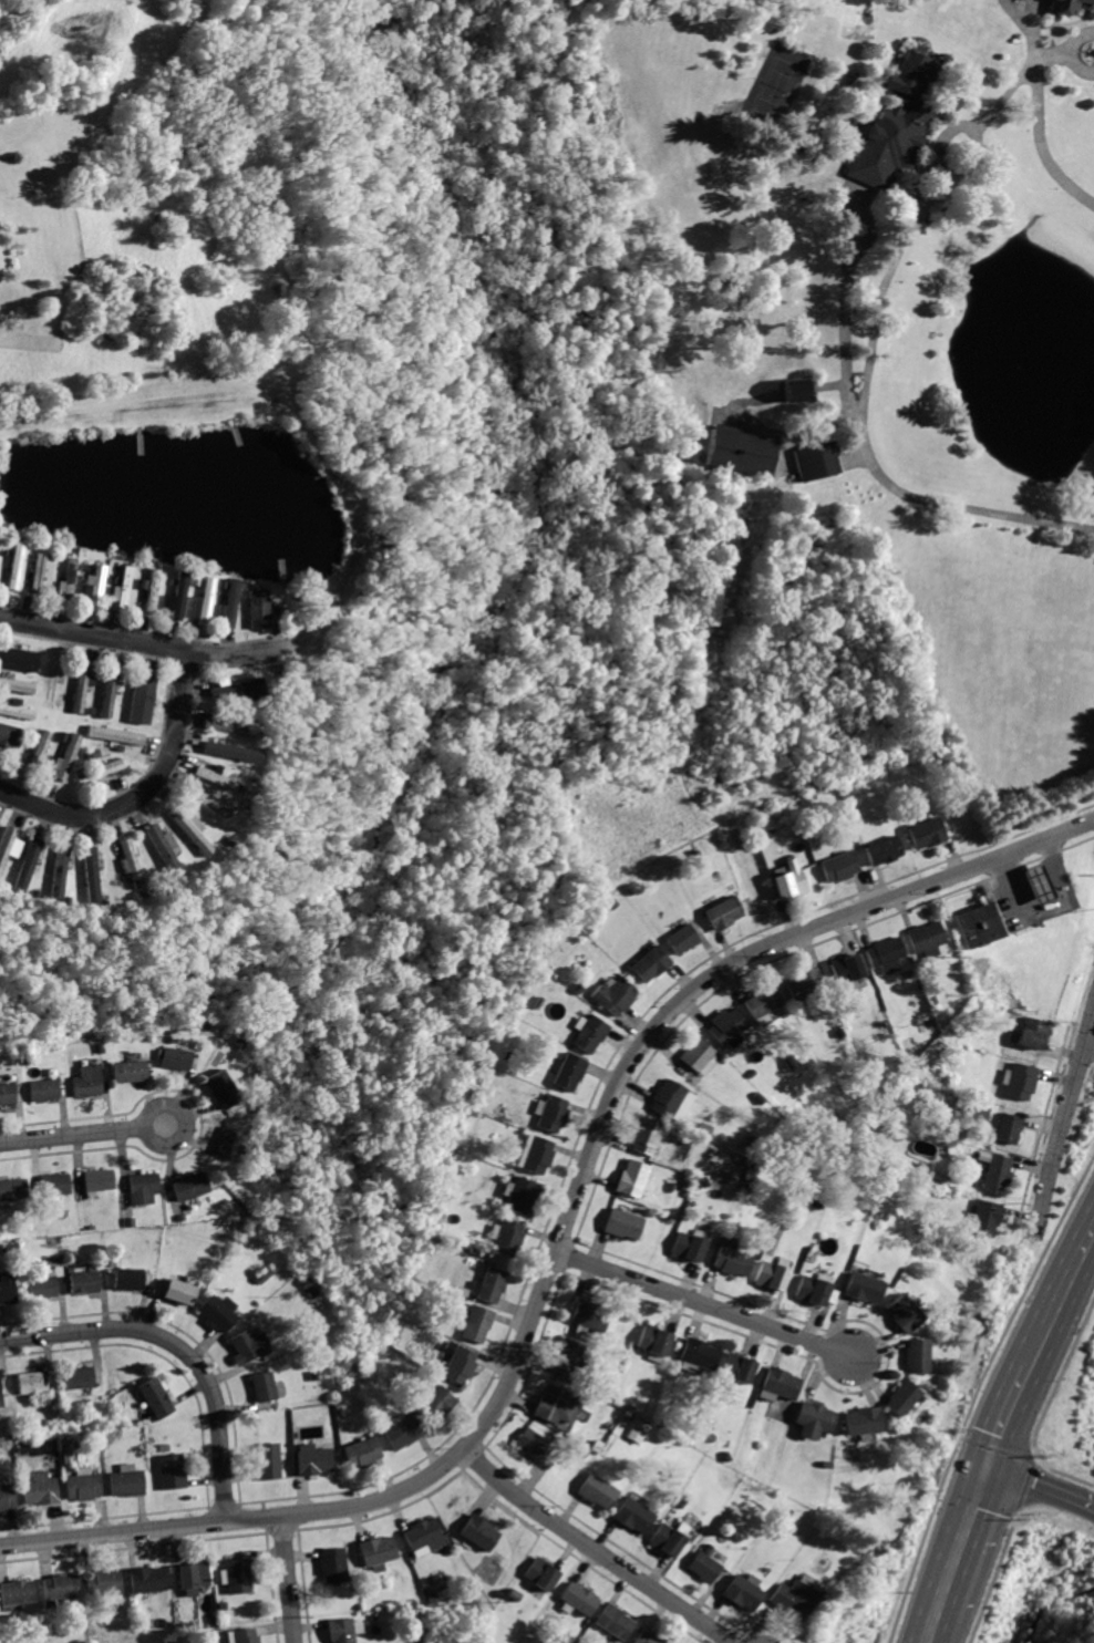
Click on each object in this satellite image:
building: (1066, 6)
park: (767, 94)
road: (1034, 117)
building: (895, 124)
road: (930, 149)
road: (844, 306)
road: (866, 355)
building: (795, 389)
building: (739, 451)
building: (815, 459)
building: (17, 564)
building: (43, 572)
building: (70, 578)
building: (97, 583)
building: (87, 587)
building: (124, 587)
building: (152, 589)
building: (178, 596)
building: (206, 600)
building: (231, 603)
building: (257, 609)
road: (216, 657)
building: (18, 658)
building: (17, 684)
building: (50, 684)
building: (80, 686)
building: (237, 688)
building: (107, 694)
building: (142, 696)
building: (17, 711)
building: (228, 725)
building: (9, 735)
building: (114, 735)
building: (40, 746)
building: (66, 757)
building: (97, 772)
building: (213, 777)
road: (140, 794)
building: (206, 803)
building: (189, 831)
building: (926, 834)
building: (6, 843)
building: (881, 849)
building: (163, 850)
building: (25, 862)
building: (130, 862)
building: (837, 866)
building: (56, 870)
building: (89, 875)
building: (789, 881)
building: (1036, 883)
road: (1044, 910)
building: (723, 914)
building: (979, 924)
building: (927, 939)
building: (682, 940)
building: (886, 954)
building: (650, 964)
building: (848, 970)
building: (806, 984)
building: (615, 995)
building: (763, 1002)
building: (726, 1025)
building: (1034, 1031)
building: (592, 1032)
building: (696, 1055)
building: (172, 1057)
building: (126, 1071)
building: (571, 1071)
building: (1022, 1079)
building: (85, 1081)
building: (40, 1087)
building: (219, 1089)
building: (6, 1093)
building: (669, 1097)
building: (551, 1112)
road: (1065, 1119)
building: (1011, 1127)
road: (82, 1134)
building: (647, 1135)
building: (227, 1140)
building: (537, 1155)
building: (999, 1170)
building: (631, 1178)
building: (99, 1179)
building: (54, 1182)
building: (141, 1187)
building: (187, 1187)
building: (12, 1189)
building: (522, 1193)
building: (985, 1217)
building: (623, 1222)
building: (509, 1236)
road: (561, 1237)
building: (688, 1246)
building: (732, 1258)
building: (770, 1275)
building: (127, 1279)
building: (83, 1281)
building: (41, 1283)
building: (492, 1285)
building: (7, 1288)
building: (860, 1289)
building: (176, 1291)
building: (811, 1291)
road: (1056, 1293)
road: (704, 1305)
building: (216, 1313)
building: (901, 1313)
building: (590, 1315)
building: (478, 1323)
building: (654, 1340)
building: (244, 1347)
road: (178, 1351)
building: (698, 1354)
building: (916, 1355)
building: (567, 1357)
building: (460, 1365)
building: (736, 1367)
building: (81, 1376)
building: (32, 1382)
building: (781, 1383)
building: (259, 1387)
building: (1, 1396)
building: (901, 1397)
building: (154, 1398)
building: (435, 1404)
building: (554, 1405)
road: (1001, 1415)
building: (815, 1420)
building: (863, 1420)
building: (402, 1432)
building: (637, 1433)
building: (531, 1445)
building: (362, 1451)
building: (310, 1459)
building: (269, 1460)
traffic signals: (981, 1468)
building: (171, 1471)
building: (126, 1482)
building: (82, 1486)
building: (38, 1487)
road: (1038, 1489)
building: (600, 1491)
building: (6, 1495)
building: (634, 1515)
building: (479, 1532)
building: (423, 1536)
building: (669, 1540)
road: (952, 1540)
building: (378, 1550)
road: (594, 1550)
building: (334, 1565)
building: (704, 1568)
building: (239, 1574)
building: (541, 1574)
building: (193, 1575)
building: (146, 1578)
road: (289, 1580)
building: (103, 1581)
building: (59, 1585)
building: (17, 1592)
building: (743, 1593)
building: (794, 1599)
building: (580, 1600)
building: (613, 1622)
road: (923, 1627)
building: (341, 1630)
building: (245, 1635)
building: (650, 1637)

